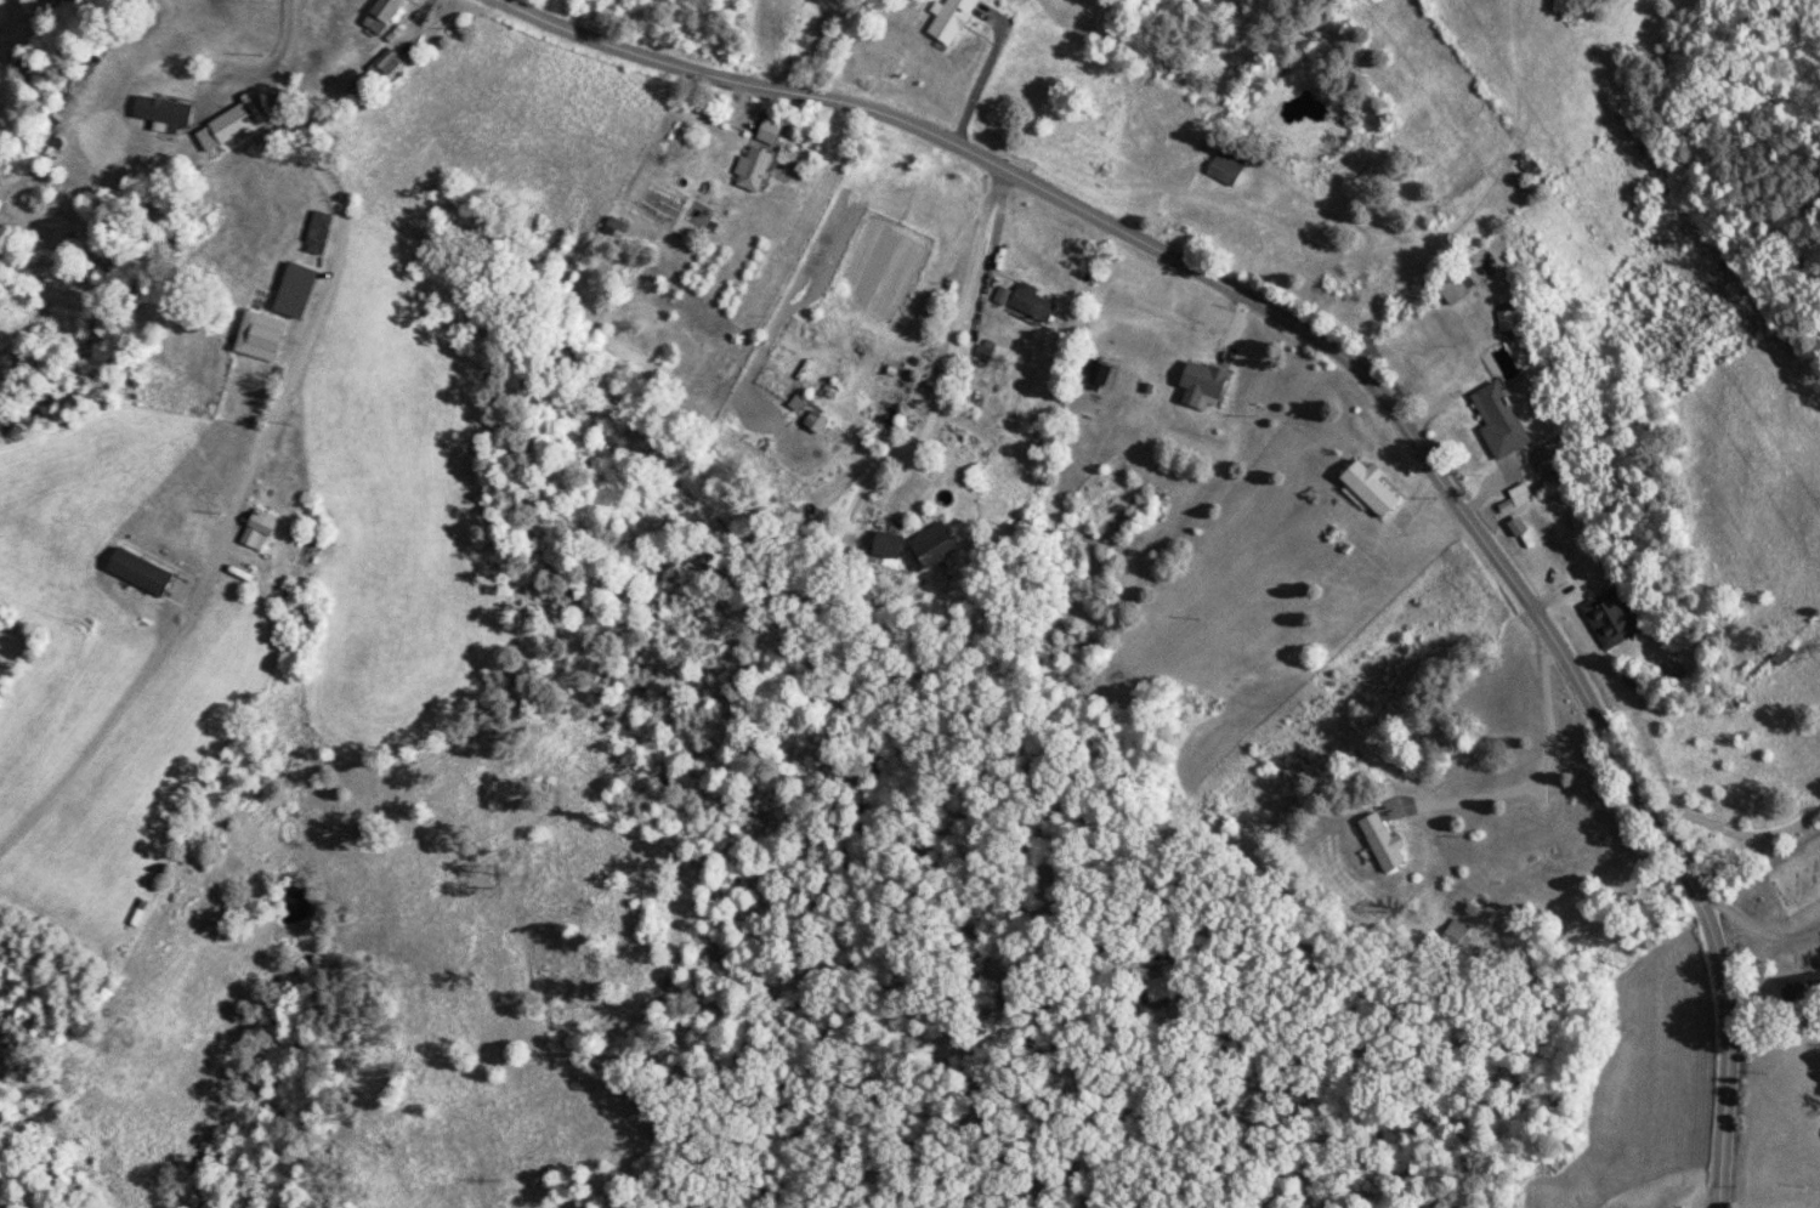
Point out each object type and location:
building: (380, 15)
building: (949, 19)
building: (163, 112)
building: (232, 123)
building: (758, 157)
building: (1225, 169)
building: (318, 233)
road: (331, 277)
building: (1456, 289)
building: (1031, 302)
building: (260, 336)
building: (788, 358)
building: (1203, 385)
road: (1325, 407)
building: (1498, 421)
building: (1370, 488)
building: (259, 531)
building: (932, 546)
building: (140, 572)
building: (1611, 618)
building: (1382, 843)
building: (1796, 988)

